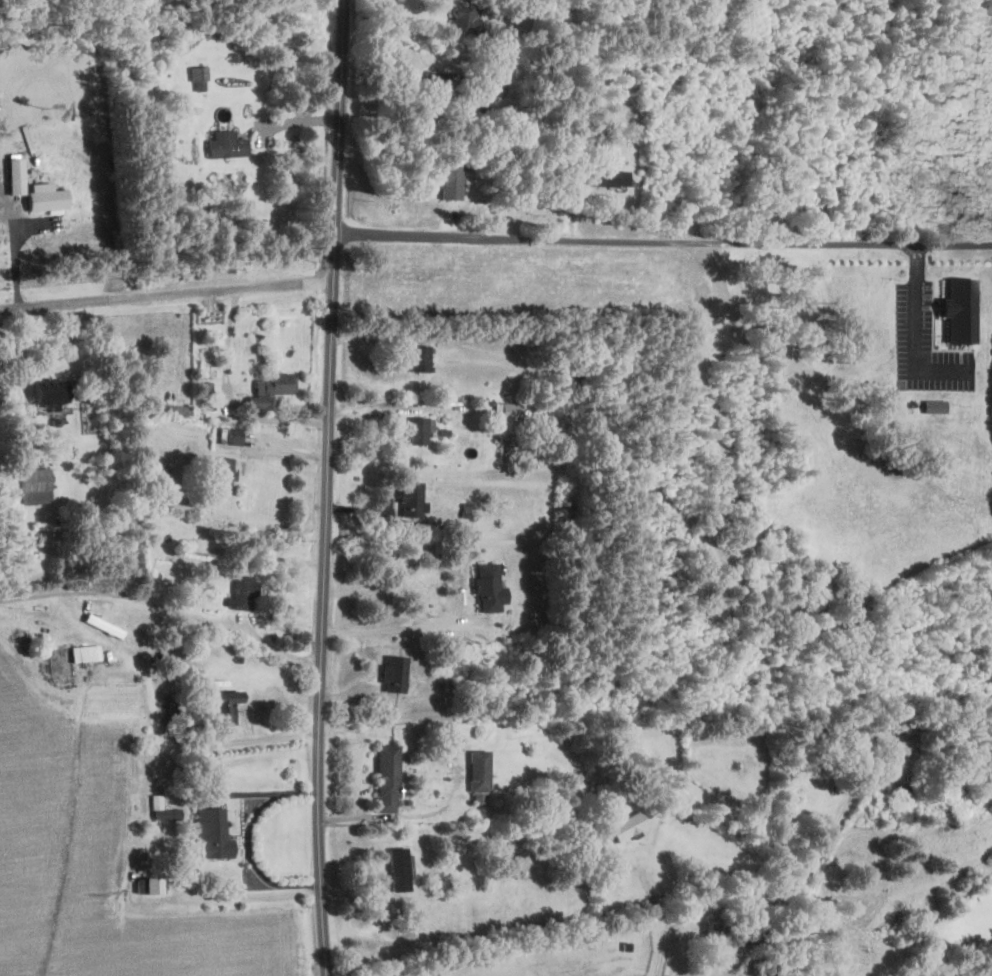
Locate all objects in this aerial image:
building: (464, 19)
building: (197, 78)
building: (437, 83)
building: (224, 145)
building: (14, 174)
building: (606, 177)
building: (449, 180)
building: (45, 199)
road: (661, 240)
road: (990, 243)
road: (166, 293)
building: (957, 309)
road: (917, 335)
building: (416, 358)
building: (269, 388)
building: (47, 393)
road: (226, 400)
building: (934, 406)
building: (510, 411)
building: (416, 429)
building: (229, 436)
road: (285, 450)
building: (218, 473)
building: (33, 486)
road: (329, 488)
building: (409, 499)
building: (242, 563)
building: (487, 588)
building: (242, 592)
road: (165, 607)
road: (399, 626)
building: (134, 641)
road: (125, 658)
building: (78, 661)
building: (392, 674)
building: (221, 707)
building: (477, 772)
building: (385, 778)
building: (625, 826)
building: (210, 834)
road: (247, 840)
building: (396, 870)
building: (147, 886)
road: (788, 888)
road: (247, 896)
road: (658, 913)
building: (715, 935)
building: (751, 936)
building: (766, 968)

